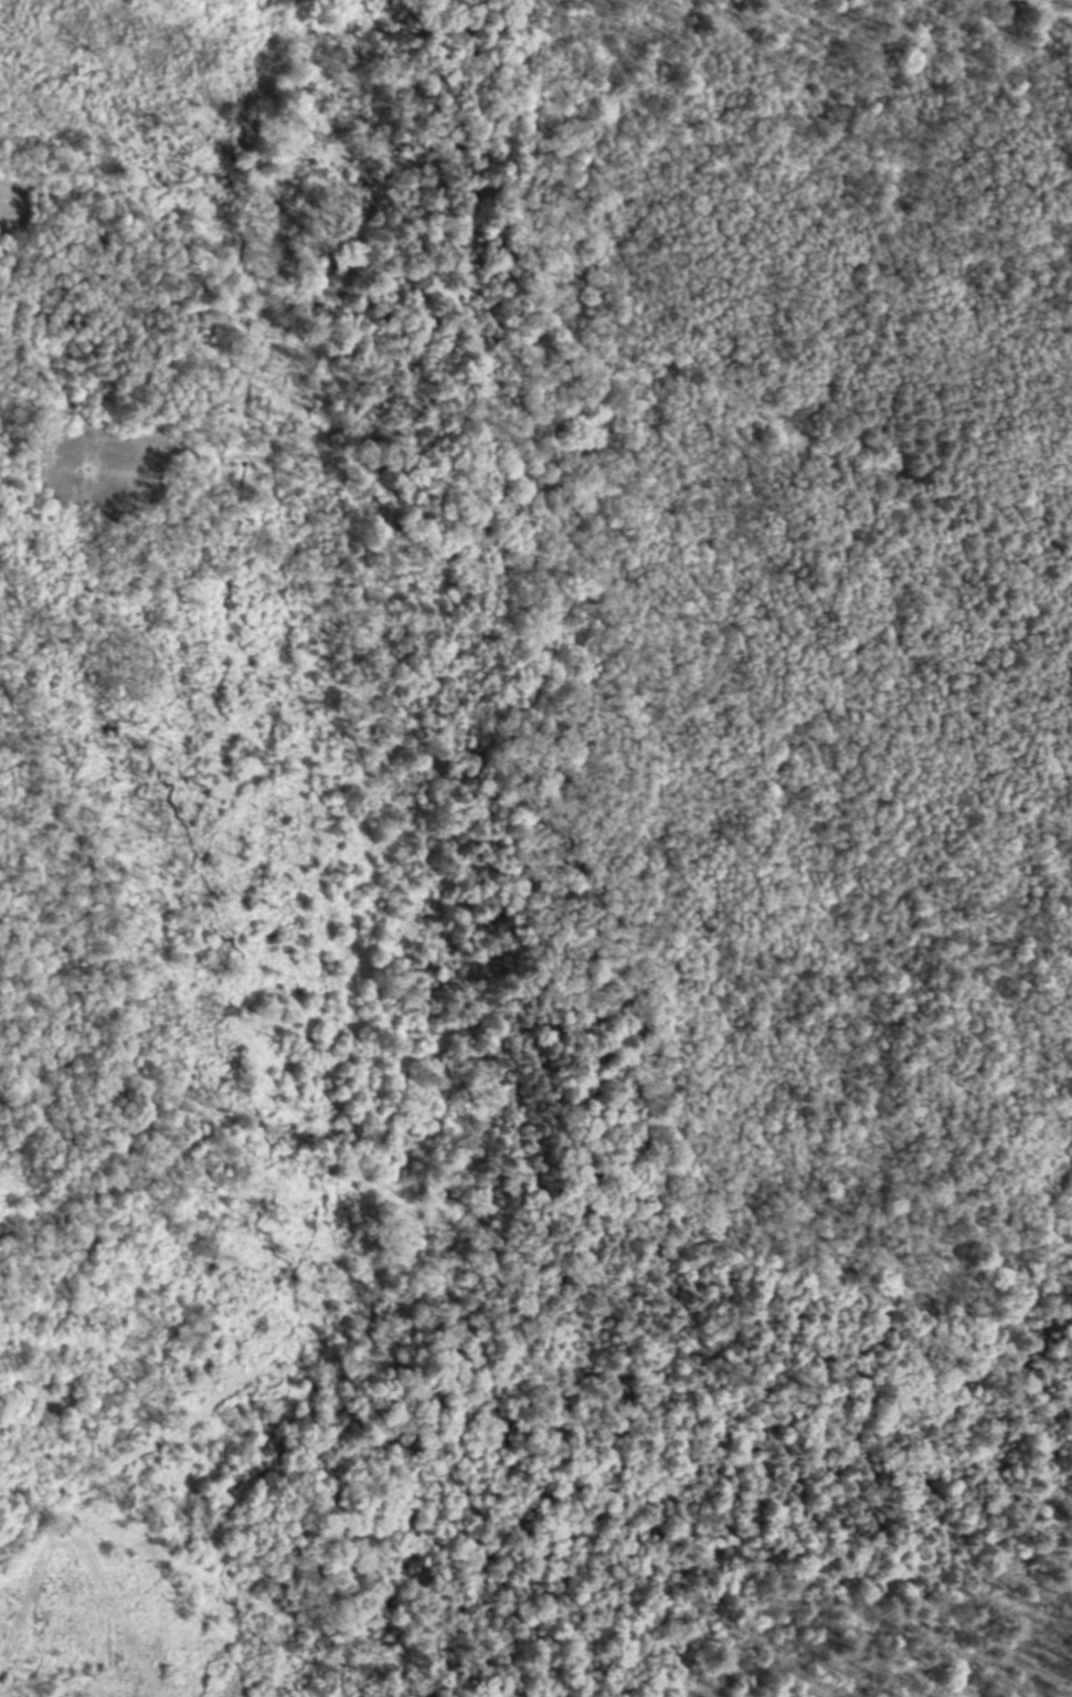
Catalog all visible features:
road: (1042, 1691)

